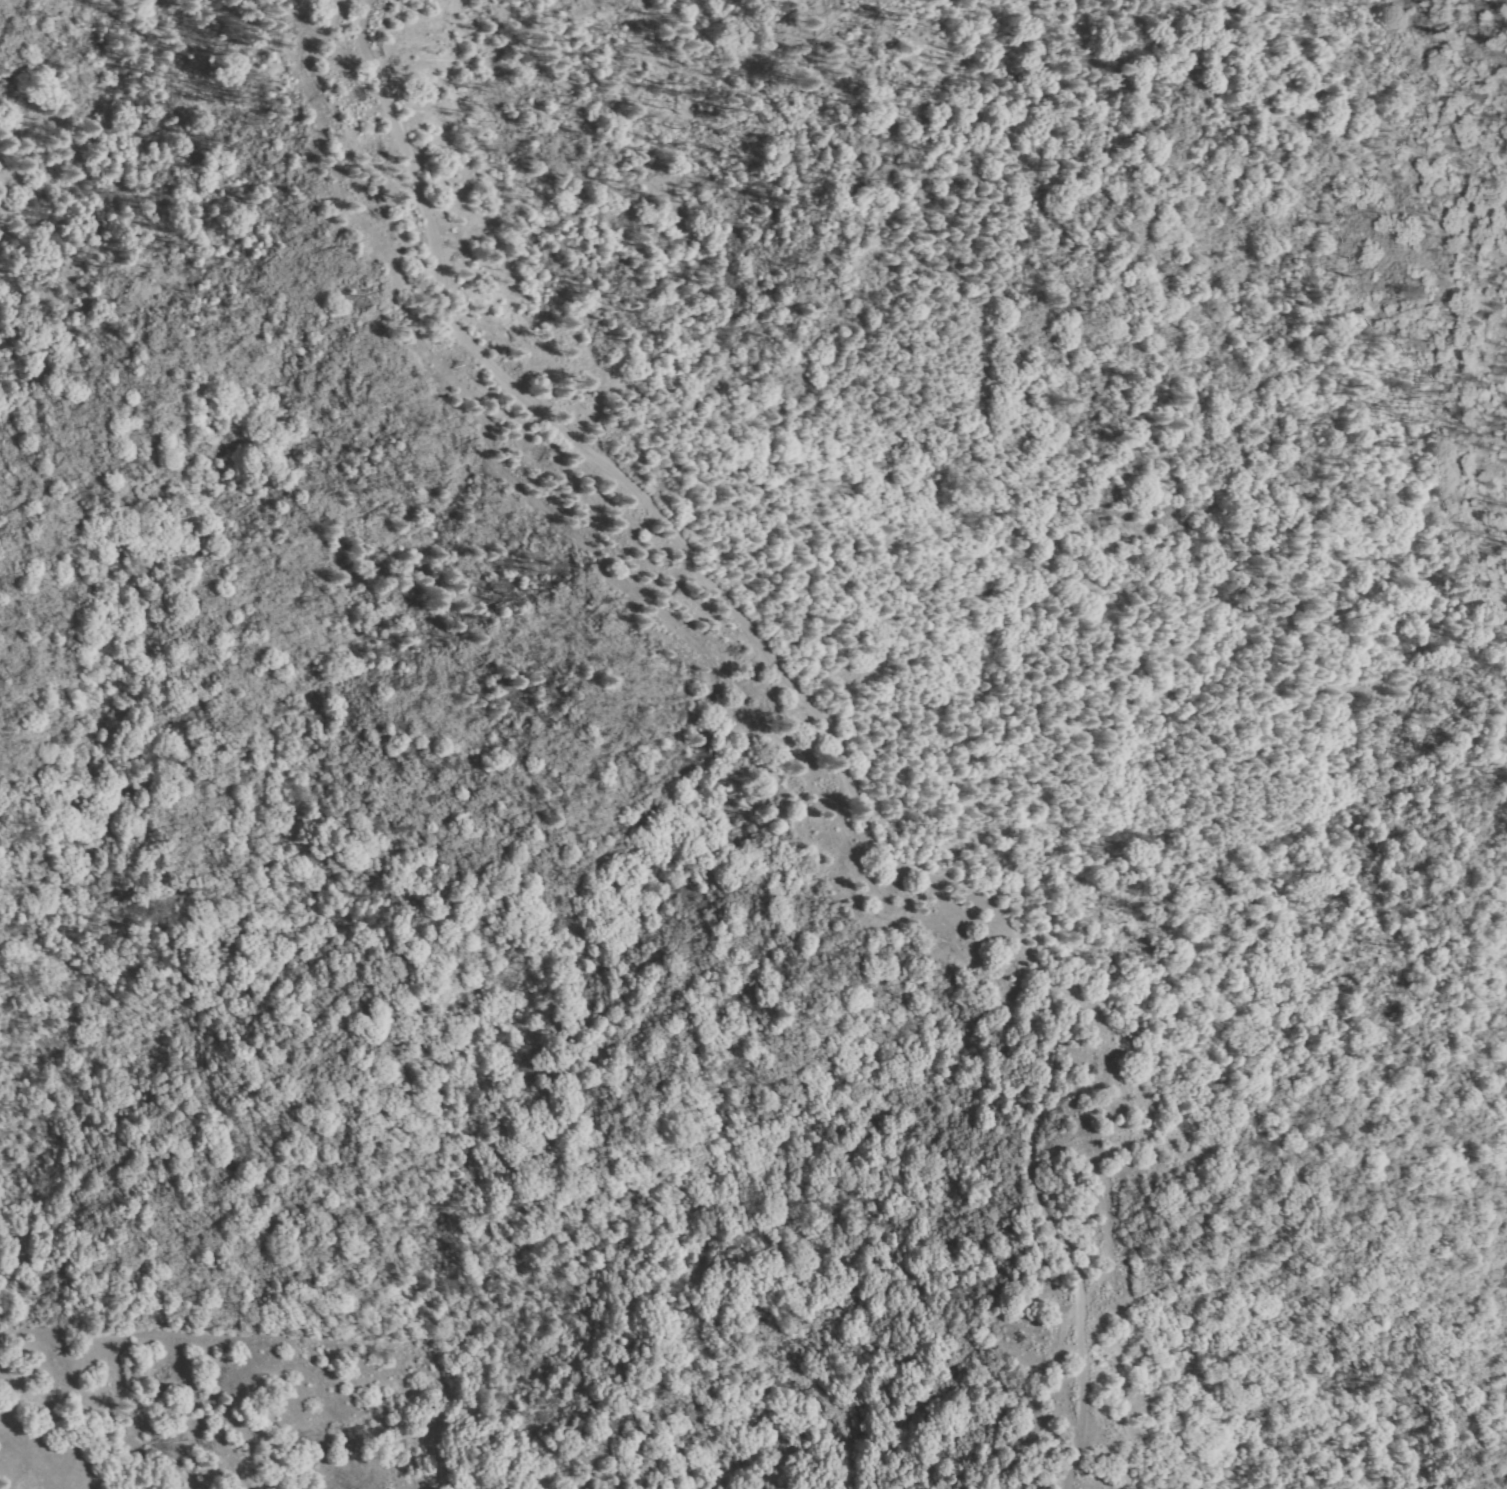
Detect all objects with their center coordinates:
road: (826, 728)
road: (482, 1175)

